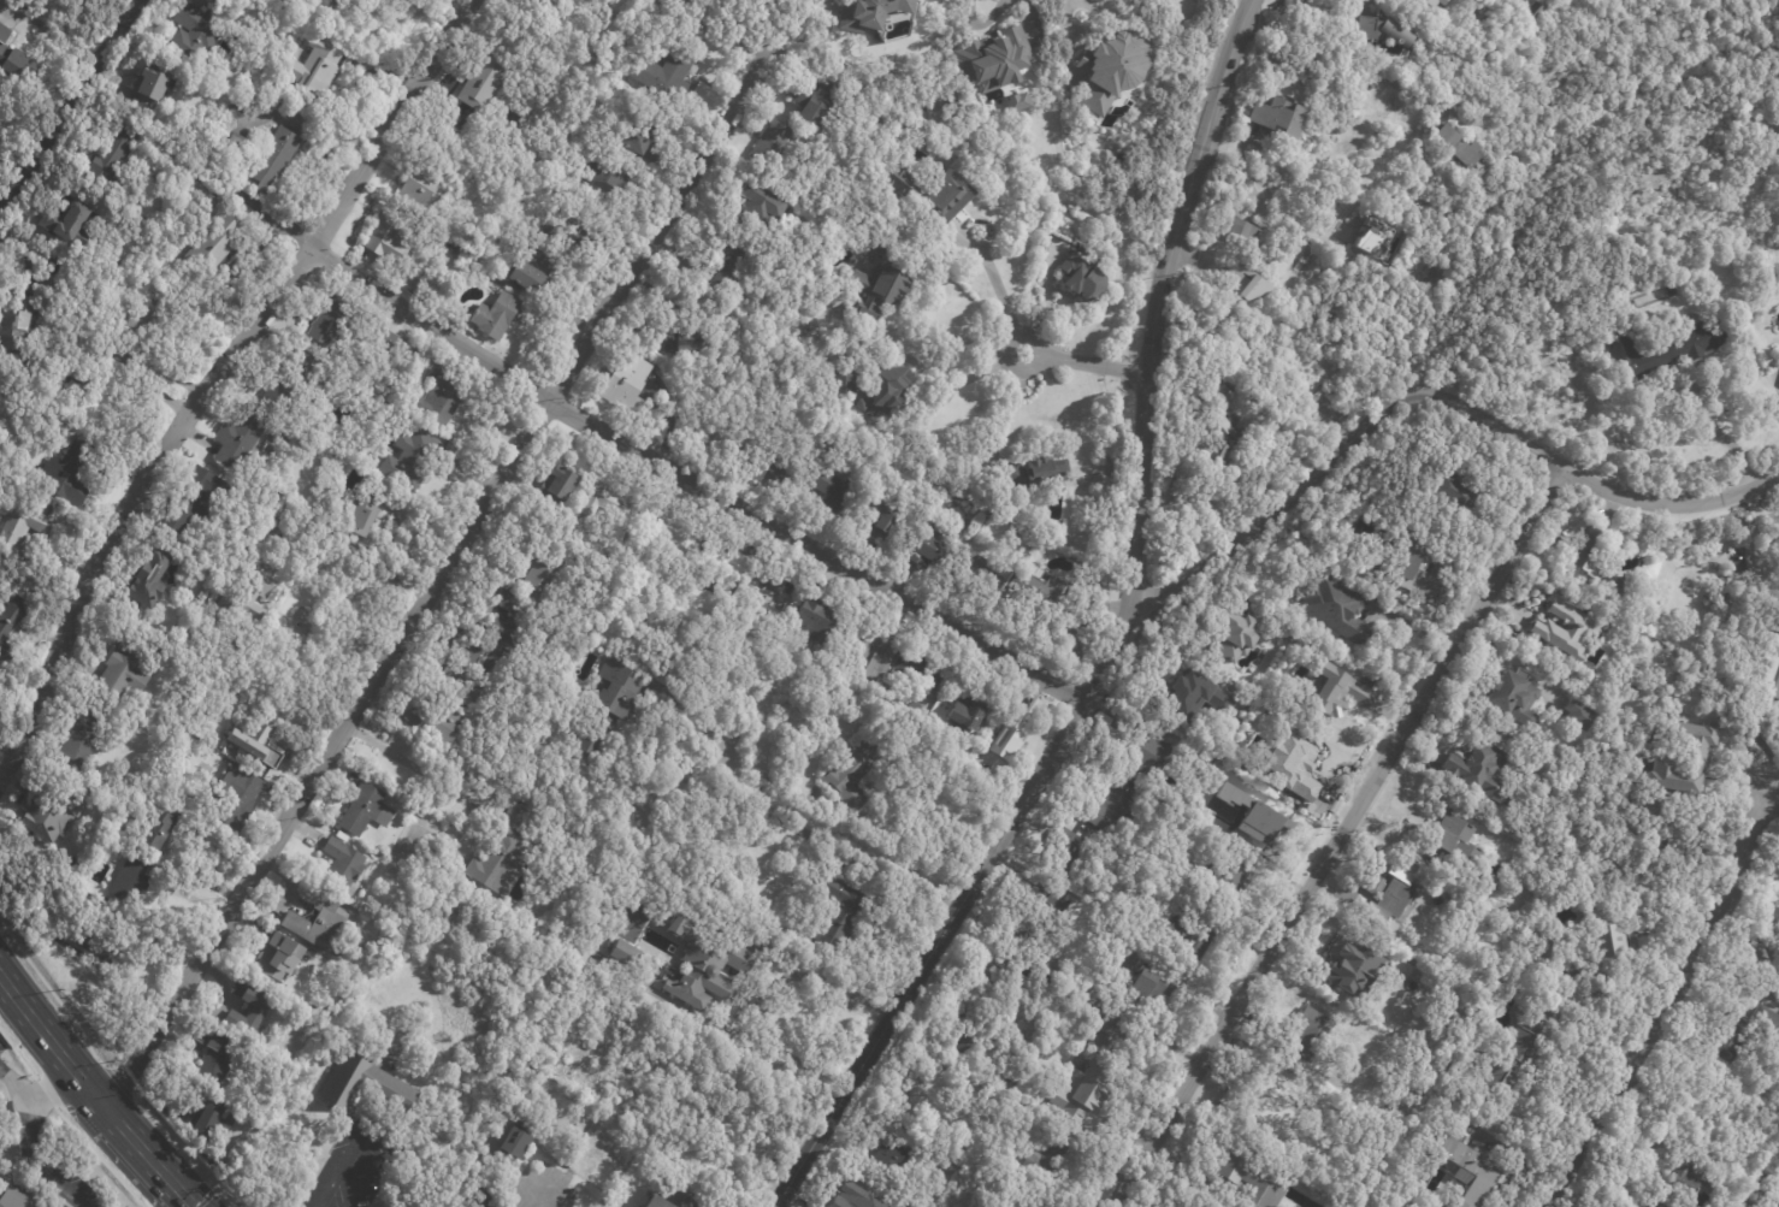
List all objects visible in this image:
building: (238, 1)
building: (554, 2)
building: (345, 4)
building: (1431, 4)
road: (1069, 7)
building: (1532, 11)
building: (867, 13)
road: (982, 23)
building: (1381, 31)
building: (194, 34)
road: (1323, 52)
building: (991, 57)
building: (13, 58)
building: (318, 67)
building: (1105, 70)
building: (667, 79)
building: (486, 83)
building: (152, 89)
building: (817, 99)
building: (1011, 100)
road: (70, 103)
building: (1271, 119)
building: (265, 135)
building: (237, 142)
building: (773, 143)
building: (644, 146)
building: (1448, 147)
building: (116, 160)
building: (276, 160)
building: (607, 181)
building: (424, 184)
building: (932, 194)
road: (1265, 199)
building: (764, 211)
building: (71, 226)
building: (211, 231)
building: (1239, 231)
building: (1682, 232)
building: (187, 233)
building: (394, 238)
building: (585, 242)
building: (1366, 247)
building: (734, 264)
building: (534, 273)
building: (1080, 276)
building: (1419, 278)
building: (1240, 283)
building: (51, 285)
building: (495, 286)
building: (880, 290)
road: (998, 292)
road: (1156, 295)
road: (1046, 300)
building: (796, 302)
building: (498, 318)
building: (332, 323)
building: (141, 324)
building: (18, 326)
road: (953, 337)
building: (391, 344)
building: (690, 345)
building: (1668, 348)
road: (1083, 362)
road: (215, 374)
road: (971, 374)
building: (849, 381)
building: (289, 385)
building: (630, 385)
building: (894, 389)
building: (102, 394)
building: (1208, 395)
building: (1314, 396)
building: (441, 397)
road: (1010, 404)
building: (867, 407)
building: (1221, 431)
building: (725, 438)
road: (1724, 438)
building: (242, 440)
road: (1340, 445)
building: (1212, 457)
building: (410, 461)
building: (768, 462)
building: (71, 474)
building: (1038, 475)
building: (565, 480)
road: (696, 480)
building: (834, 491)
building: (1452, 492)
building: (193, 503)
building: (615, 503)
road: (1669, 503)
building: (886, 517)
building: (361, 520)
building: (22, 527)
building: (672, 533)
building: (935, 546)
road: (1755, 548)
building: (261, 556)
building: (1588, 557)
building: (725, 562)
building: (542, 568)
road: (447, 573)
building: (1419, 573)
building: (983, 579)
building: (149, 580)
building: (1621, 585)
building: (774, 590)
building: (1, 592)
building: (1038, 593)
building: (1719, 594)
building: (1295, 602)
building: (242, 605)
building: (1340, 608)
building: (816, 619)
building: (514, 621)
road: (1411, 625)
building: (10, 627)
building: (1564, 628)
building: (1251, 634)
building: (1777, 634)
building: (1076, 637)
building: (1233, 638)
building: (1771, 645)
building: (874, 652)
building: (475, 663)
building: (1767, 667)
building: (126, 668)
building: (920, 669)
building: (682, 678)
building: (1335, 685)
building: (1777, 687)
building: (621, 692)
building: (1512, 698)
building: (1187, 708)
building: (969, 712)
building: (1574, 714)
building: (443, 727)
building: (85, 729)
building: (1013, 734)
building: (1501, 739)
building: (591, 741)
building: (255, 746)
building: (1142, 750)
building: (1286, 759)
building: (1476, 768)
building: (1665, 771)
building: (853, 773)
road: (425, 776)
building: (238, 797)
building: (1130, 807)
building: (367, 810)
building: (1110, 810)
building: (1140, 813)
building: (48, 818)
building: (159, 827)
building: (1263, 830)
road: (1340, 838)
building: (1450, 839)
road: (827, 842)
building: (1069, 852)
building: (1147, 859)
building: (503, 860)
building: (344, 866)
building: (130, 876)
building: (1225, 878)
building: (1383, 893)
road: (954, 907)
building: (1046, 907)
building: (840, 912)
building: (320, 924)
building: (1194, 935)
building: (99, 936)
building: (1603, 945)
building: (1778, 946)
building: (368, 951)
building: (626, 952)
building: (1548, 952)
building: (279, 958)
building: (1005, 960)
building: (1342, 960)
building: (705, 965)
building: (1083, 968)
building: (1078, 977)
building: (1156, 982)
building: (758, 998)
road: (1669, 1005)
building: (259, 1012)
building: (1363, 1017)
building: (1550, 1018)
building: (1111, 1031)
building: (1739, 1031)
building: (969, 1034)
building: (200, 1035)
building: (1305, 1035)
road: (47, 1040)
road: (792, 1058)
building: (218, 1059)
building: (1506, 1063)
road: (111, 1075)
building: (1011, 1082)
building: (367, 1085)
road: (48, 1090)
building: (1091, 1091)
building: (926, 1096)
building: (1259, 1101)
building: (213, 1119)
road: (66, 1122)
road: (362, 1137)
building: (520, 1140)
building: (224, 1144)
road: (29, 1148)
building: (892, 1152)
road: (144, 1153)
building: (1047, 1156)
building: (1464, 1168)
building: (1257, 1183)
building: (1680, 1183)
building: (483, 1190)
building: (859, 1195)
building: (18, 1196)
road: (208, 1197)
building: (1777, 1199)
road: (539, 1200)
building: (660, 1202)
building: (1017, 1203)
traffic signals: (190, 1205)
building: (1435, 1206)

